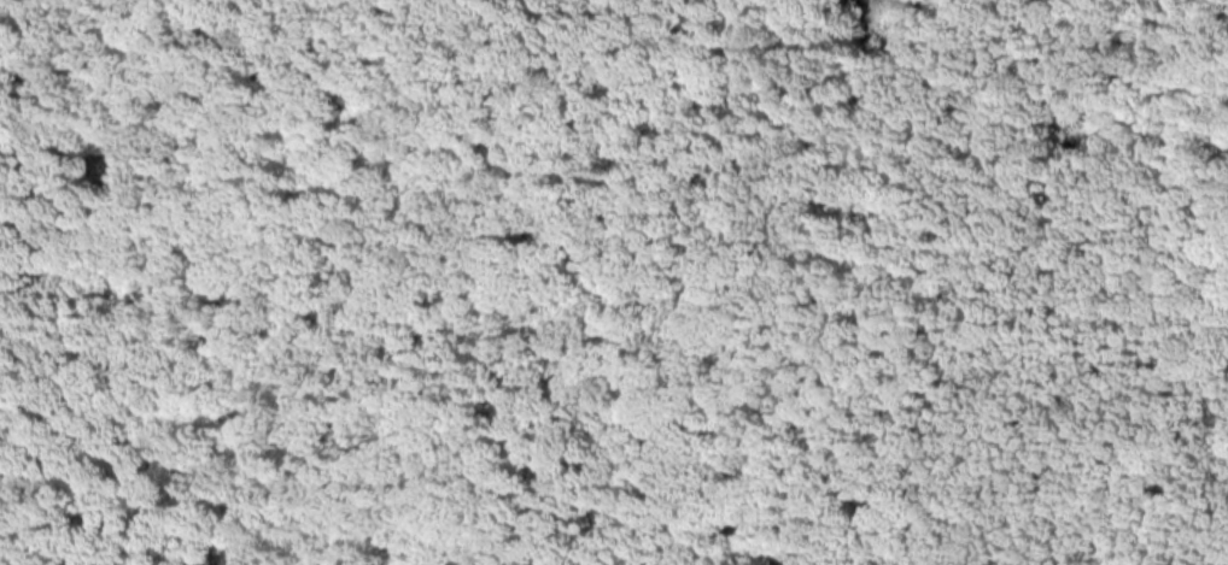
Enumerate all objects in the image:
park: (614, 282)

